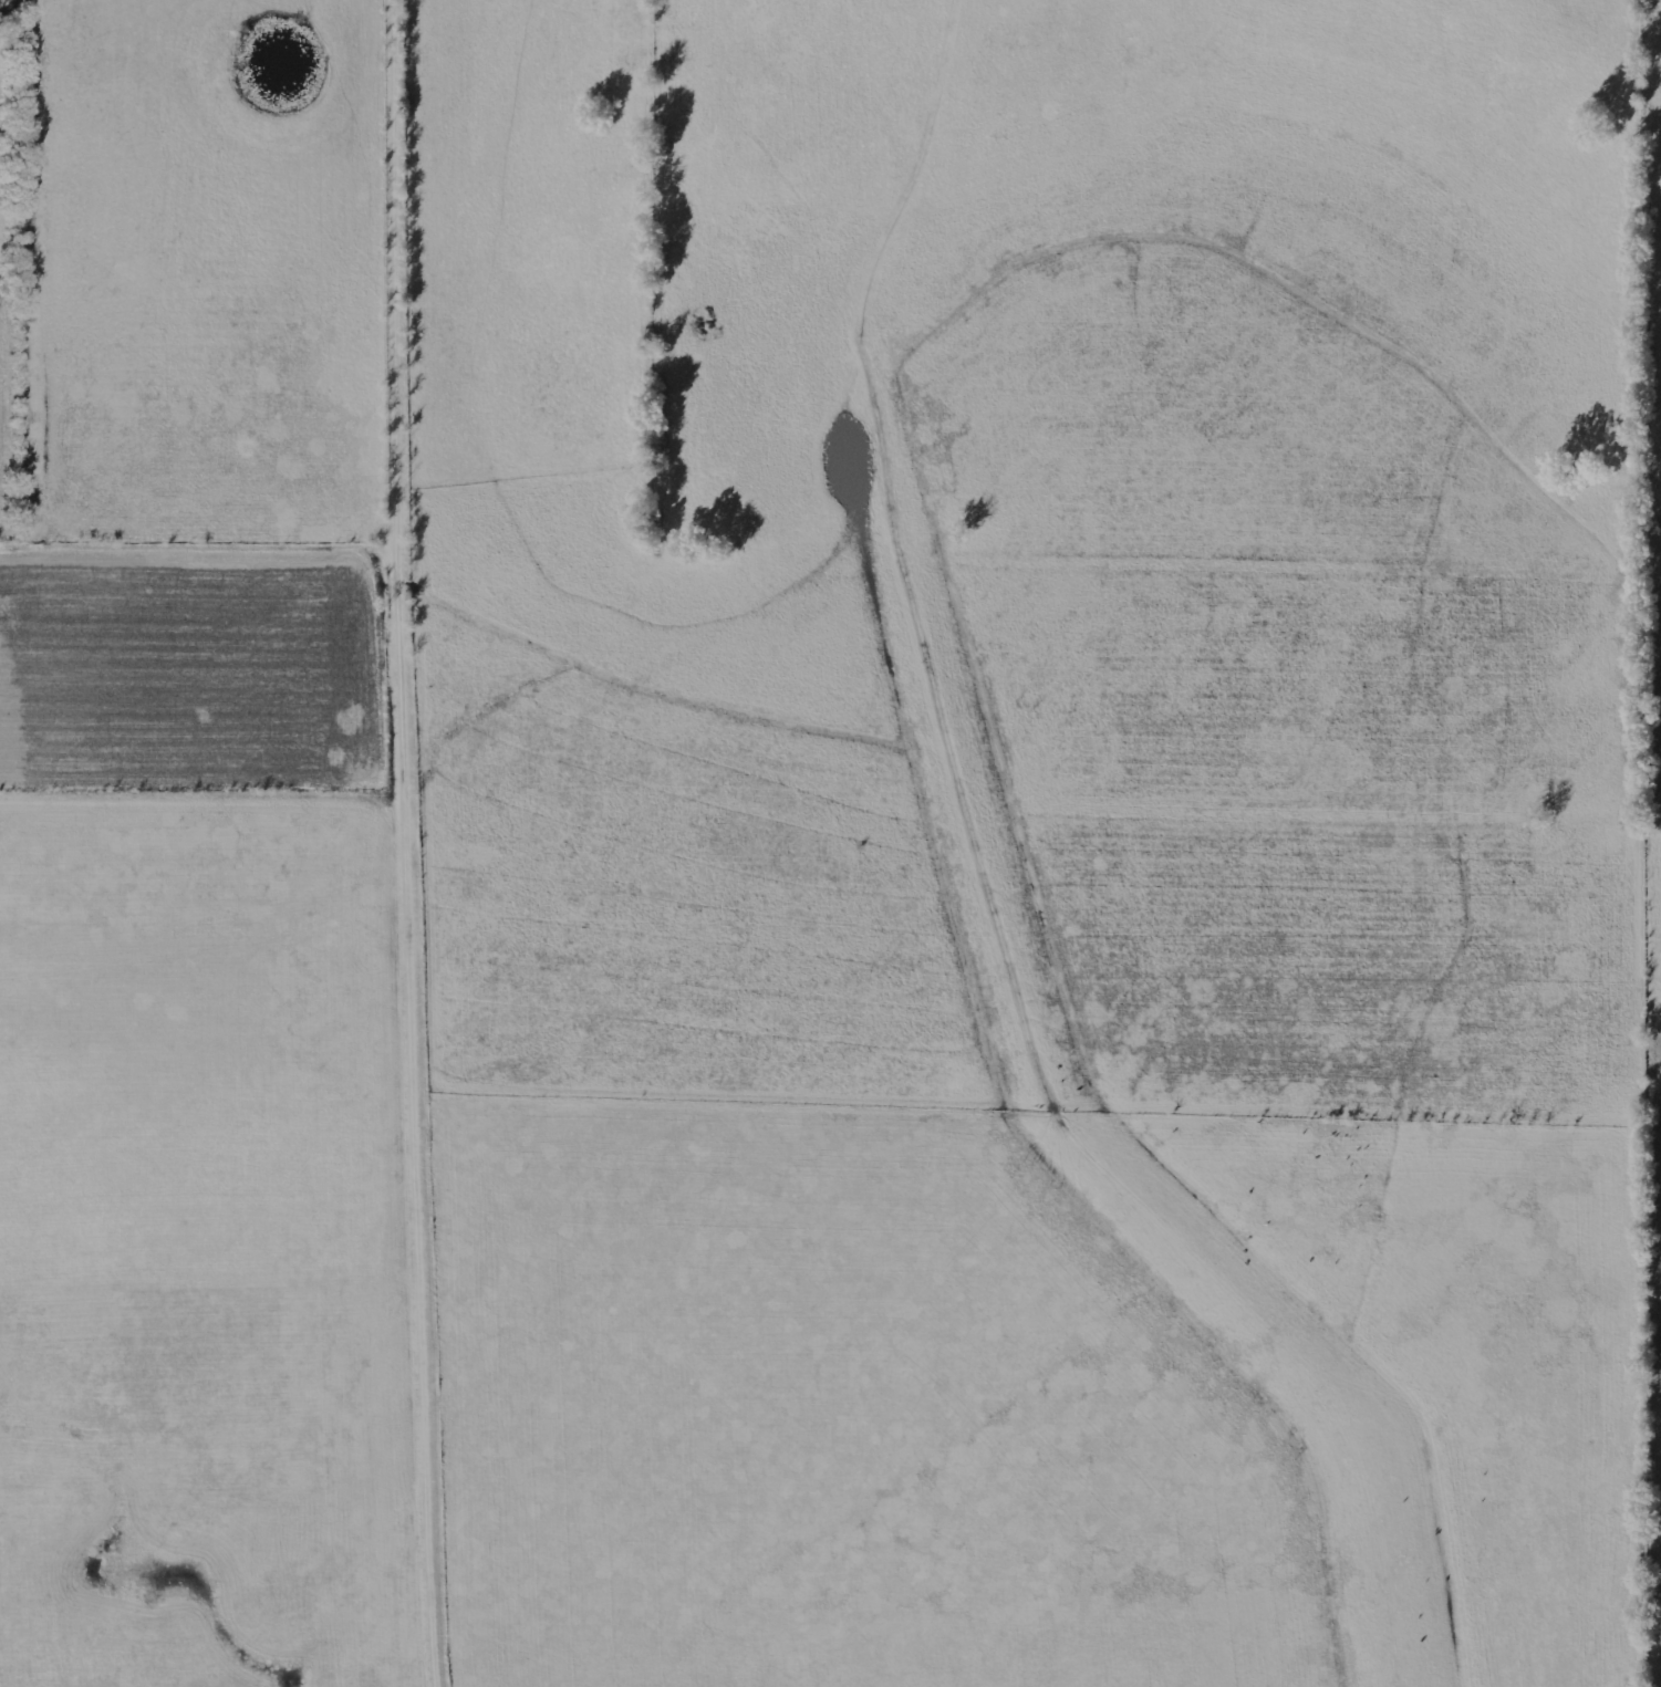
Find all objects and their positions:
road: (417, 843)

